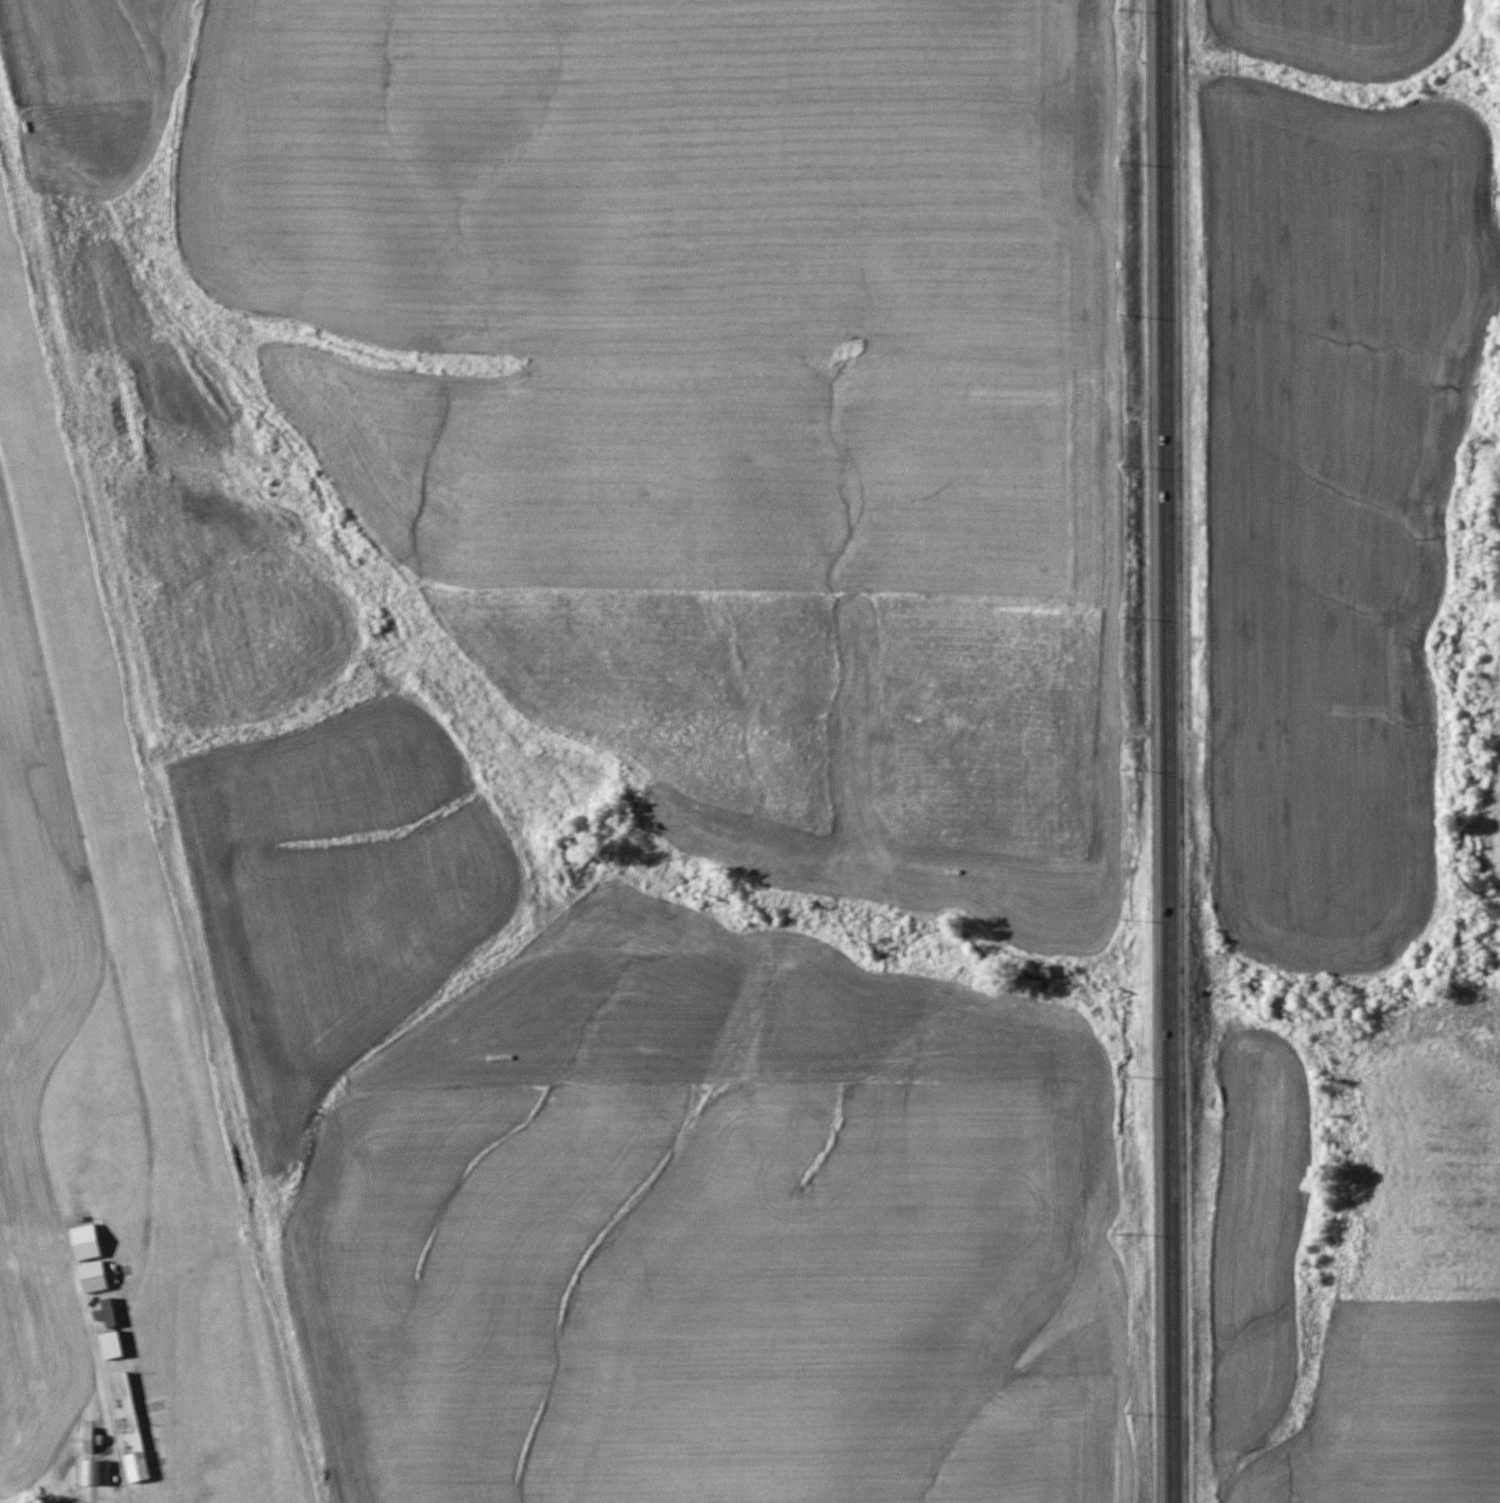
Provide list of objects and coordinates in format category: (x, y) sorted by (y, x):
road: (1172, 751)
airport runway: (136, 891)
building: (92, 1276)
building: (107, 1312)
building: (109, 1345)
building: (126, 1426)
building: (94, 1473)

